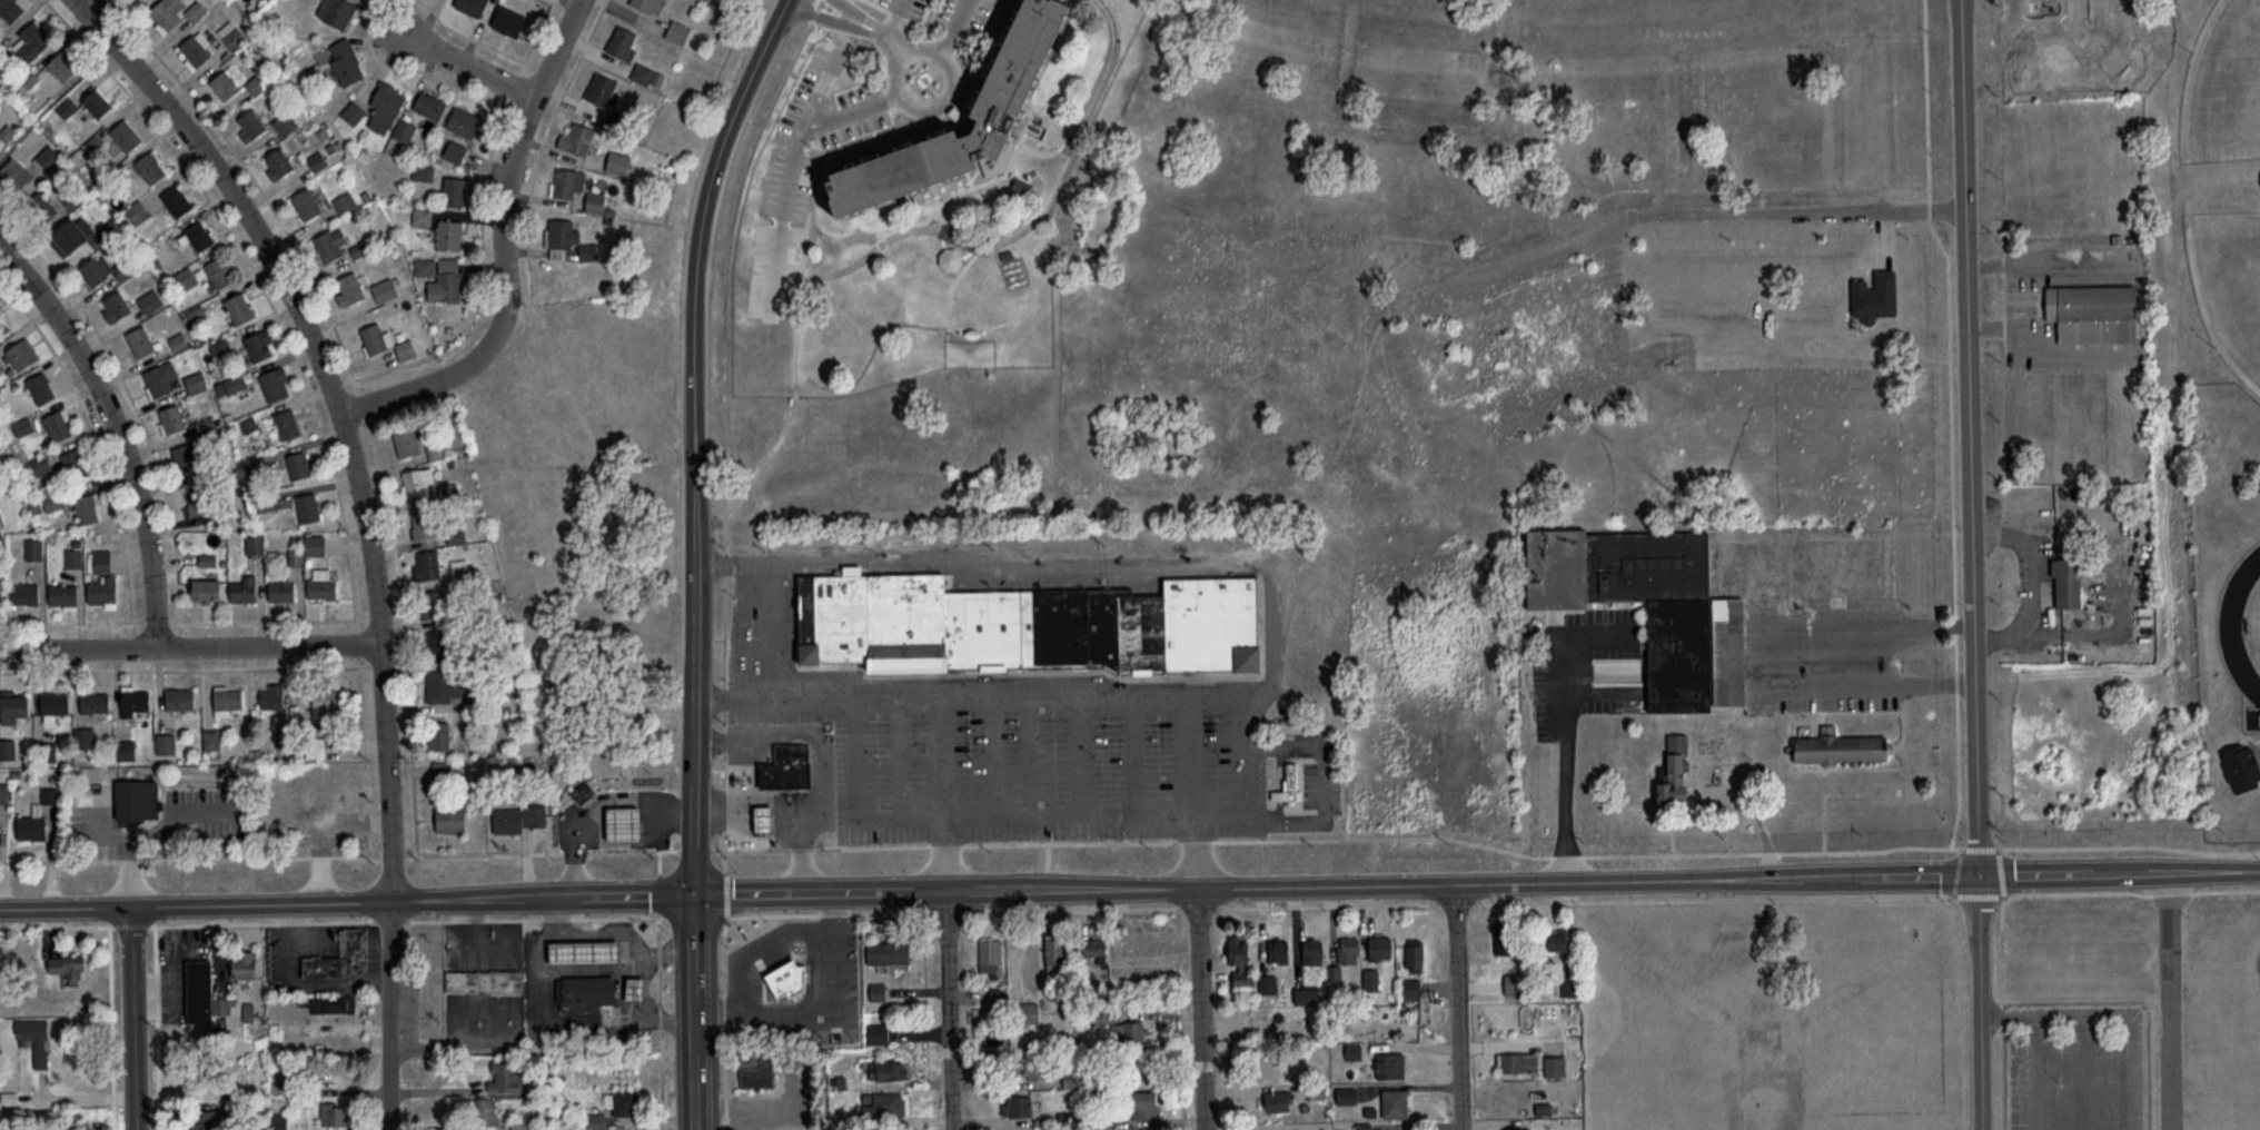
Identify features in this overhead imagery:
road: (96, 2)
building: (648, 4)
building: (470, 6)
parking lot: (905, 7)
road: (846, 8)
building: (11, 9)
building: (336, 11)
building: (175, 12)
parking lot: (962, 16)
road: (895, 19)
road: (905, 20)
building: (512, 22)
building: (677, 31)
road: (952, 31)
building: (232, 36)
road: (884, 37)
building: (31, 40)
building: (623, 42)
building: (196, 49)
building: (346, 61)
building: (1017, 61)
road: (910, 63)
road: (472, 66)
building: (62, 67)
building: (642, 73)
road: (826, 81)
building: (256, 83)
building: (225, 85)
building: (599, 89)
park: (2228, 92)
road: (1925, 100)
building: (97, 102)
building: (429, 105)
building: (66, 106)
road: (1090, 106)
building: (385, 107)
building: (354, 112)
building: (464, 122)
building: (285, 123)
building: (250, 125)
building: (404, 130)
building: (126, 135)
building: (577, 139)
building: (455, 151)
building: (49, 157)
building: (317, 161)
building: (617, 162)
building: (277, 163)
building: (151, 167)
building: (423, 171)
building: (16, 172)
building: (567, 181)
building: (454, 190)
building: (176, 199)
building: (345, 201)
building: (595, 201)
building: (307, 204)
road: (786, 206)
building: (40, 207)
road: (1676, 209)
road: (1929, 209)
building: (137, 211)
building: (423, 216)
road: (6, 217)
building: (70, 234)
building: (449, 234)
building: (199, 235)
building: (561, 237)
building: (330, 242)
park: (2220, 247)
road: (506, 250)
building: (587, 252)
road: (2045, 265)
building: (103, 269)
building: (218, 271)
building: (443, 277)
building: (186, 278)
park: (2230, 281)
road: (6, 286)
building: (350, 288)
building: (385, 289)
building: (1874, 295)
building: (150, 300)
building: (116, 305)
building: (238, 307)
building: (2092, 313)
building: (3, 326)
building: (140, 340)
building: (384, 341)
building: (259, 344)
building: (219, 347)
road: (2039, 347)
building: (22, 354)
building: (159, 378)
building: (195, 381)
building: (276, 384)
building: (230, 385)
building: (41, 388)
road: (345, 414)
building: (171, 418)
building: (287, 424)
building: (58, 425)
building: (23, 426)
road: (724, 426)
road: (117, 428)
building: (406, 440)
road: (700, 440)
building: (184, 457)
building: (40, 463)
building: (73, 463)
building: (299, 464)
building: (419, 480)
building: (196, 500)
building: (47, 502)
building: (308, 507)
building: (87, 508)
building: (0, 521)
building: (422, 525)
road: (1953, 531)
road: (883, 541)
building: (254, 544)
building: (315, 544)
building: (33, 548)
building: (75, 557)
building: (100, 561)
building: (427, 564)
road: (1976, 565)
road: (1062, 567)
building: (2066, 583)
building: (321, 584)
building: (242, 588)
building: (281, 589)
building: (206, 591)
building: (0, 592)
building: (102, 592)
building: (24, 594)
building: (1635, 594)
building: (63, 595)
road: (757, 596)
building: (434, 604)
building: (1027, 623)
road: (1776, 624)
track: (2244, 624)
road: (4, 625)
road: (781, 630)
parking lot: (753, 631)
road: (191, 644)
building: (437, 644)
road: (757, 645)
road: (185, 667)
road: (1902, 668)
road: (1940, 683)
building: (443, 686)
road: (970, 690)
building: (271, 695)
building: (227, 697)
building: (135, 698)
building: (180, 698)
building: (95, 701)
building: (324, 701)
building: (53, 702)
building: (14, 704)
road: (1798, 712)
road: (1903, 726)
road: (1567, 730)
road: (364, 731)
building: (438, 735)
building: (83, 736)
building: (286, 737)
building: (211, 739)
building: (166, 743)
building: (315, 745)
building: (7, 747)
building: (1841, 747)
building: (125, 749)
building: (44, 751)
road: (1084, 751)
road: (1032, 752)
road: (994, 753)
road: (1195, 753)
road: (901, 754)
road: (945, 754)
road: (1134, 754)
road: (823, 757)
building: (786, 765)
building: (2240, 766)
parking lot: (1033, 772)
building: (1674, 773)
road: (1327, 782)
road: (1279, 783)
parking lot: (1309, 783)
building: (1288, 786)
building: (582, 791)
building: (3, 792)
road: (759, 799)
building: (137, 801)
road: (625, 811)
road: (670, 811)
road: (1044, 814)
building: (519, 817)
building: (763, 817)
building: (449, 820)
building: (625, 822)
building: (30, 826)
road: (1485, 844)
road: (575, 846)
road: (1198, 849)
road: (694, 850)
road: (633, 851)
road: (575, 852)
road: (484, 854)
road: (949, 854)
road: (191, 858)
road: (394, 861)
road: (660, 862)
road: (1957, 871)
road: (2001, 871)
traffic signals: (1982, 873)
road: (1478, 880)
road: (660, 893)
traffic signals: (697, 898)
road: (1867, 898)
road: (348, 903)
road: (1457, 903)
road: (1328, 904)
road: (1076, 909)
road: (1199, 909)
road: (948, 912)
road: (721, 918)
road: (535, 919)
road: (555, 920)
road: (390, 921)
road: (264, 922)
road: (132, 924)
road: (56, 925)
road: (725, 925)
building: (1503, 938)
building: (1557, 940)
building: (1379, 946)
road: (754, 948)
building: (1094, 949)
building: (1348, 949)
building: (582, 950)
road: (556, 951)
building: (1054, 951)
building: (1278, 951)
building: (1311, 951)
building: (888, 952)
building: (1414, 954)
building: (341, 956)
building: (989, 956)
building: (1239, 961)
building: (69, 965)
building: (244, 965)
road: (628, 965)
building: (1335, 971)
building: (785, 978)
building: (1370, 979)
building: (483, 982)
building: (1267, 983)
building: (1513, 983)
building: (1567, 984)
building: (635, 987)
building: (1410, 988)
building: (585, 991)
road: (807, 991)
building: (878, 991)
building: (202, 992)
building: (1306, 994)
road: (2171, 1000)
building: (329, 1002)
road: (1463, 1004)
road: (1203, 1007)
road: (953, 1011)
building: (1025, 1012)
road: (697, 1013)
road: (2115, 1013)
road: (395, 1015)
road: (141, 1018)
road: (829, 1018)
road: (660, 1021)
road: (581, 1032)
building: (1127, 1032)
building: (878, 1033)
building: (34, 1038)
building: (1029, 1044)
building: (1517, 1061)
building: (1386, 1064)
building: (1554, 1065)
building: (756, 1070)
building: (886, 1070)
building: (1039, 1070)
road: (2034, 1071)
road: (2084, 1071)
building: (504, 1077)
building: (1346, 1094)
building: (1516, 1096)
road: (85, 1097)
building: (1278, 1100)
building: (1395, 1102)
building: (885, 1104)
building: (1144, 1104)
building: (1015, 1106)
building: (613, 1108)
building: (333, 1113)
building: (486, 1113)
building: (207, 1120)
building: (523, 1123)
building: (280, 1124)
building: (1366, 1126)

